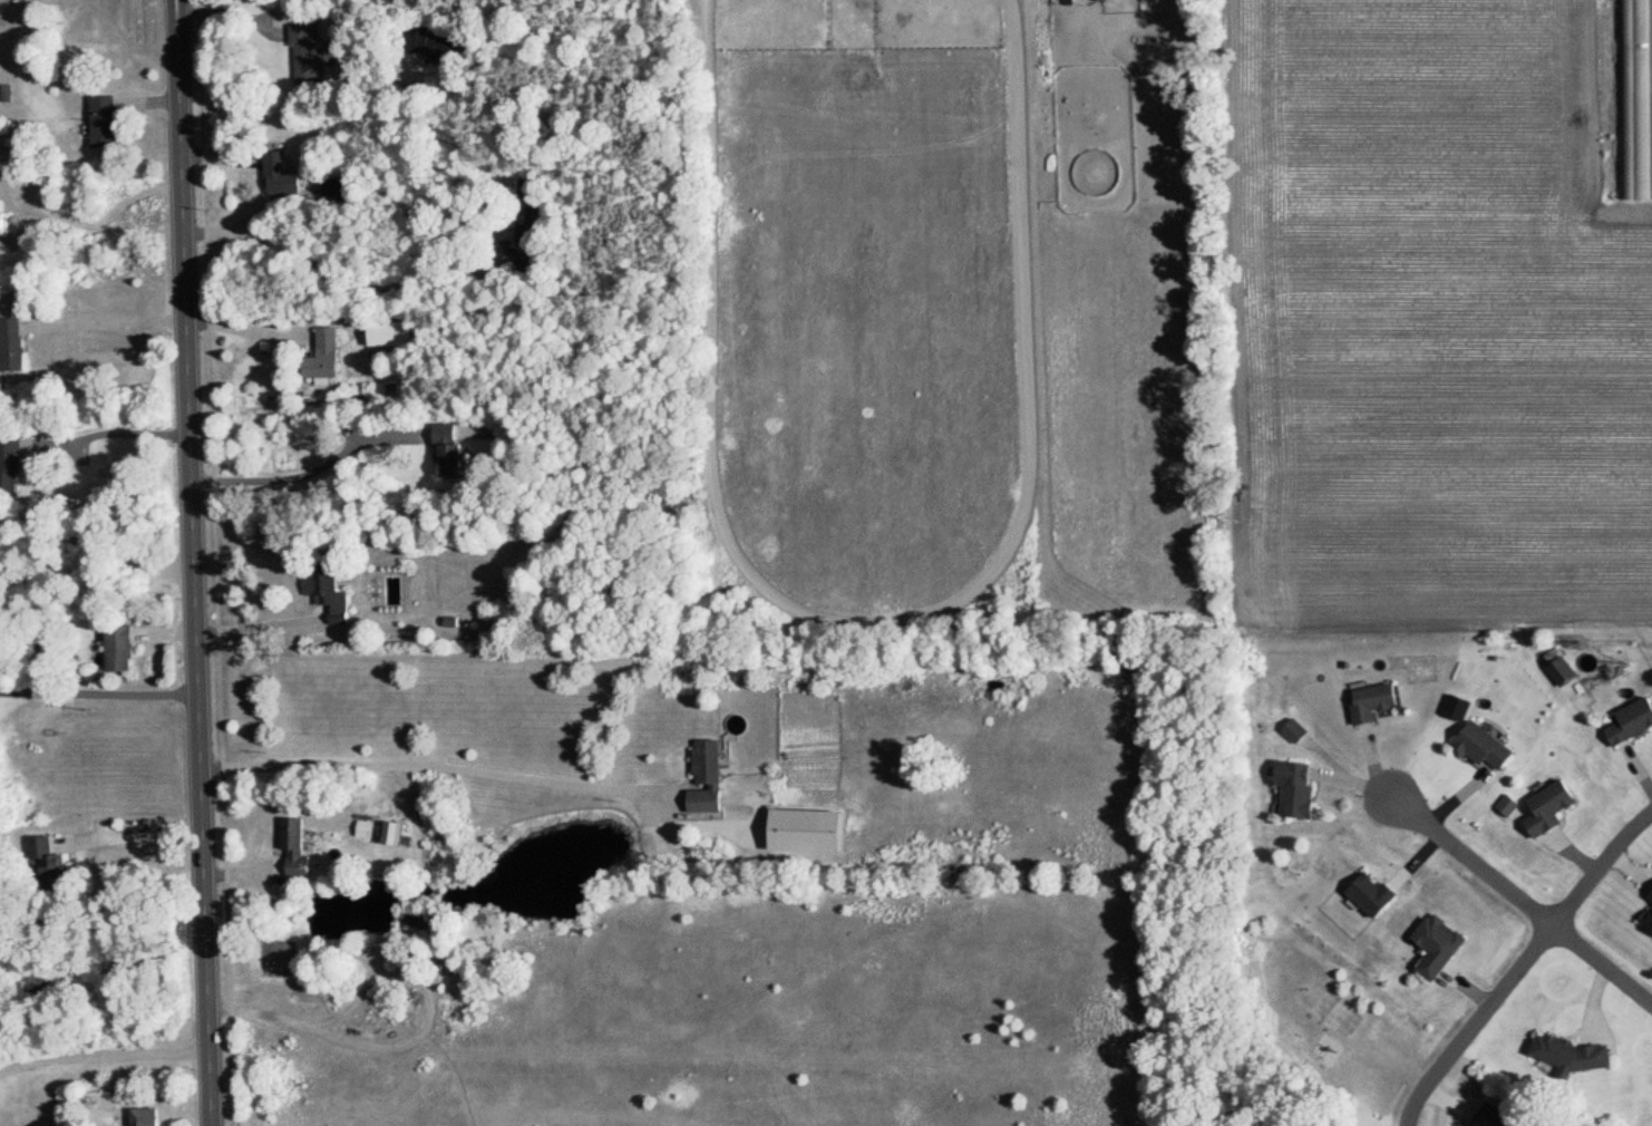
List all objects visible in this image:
building: (1067, 1)
road: (241, 13)
building: (437, 45)
building: (311, 57)
building: (1641, 100)
building: (284, 177)
building: (1, 182)
building: (342, 193)
building: (535, 213)
building: (6, 223)
road: (100, 223)
road: (348, 279)
road: (111, 322)
building: (363, 326)
road: (251, 329)
building: (329, 356)
road: (111, 437)
building: (455, 450)
road: (315, 472)
road: (97, 545)
road: (195, 563)
building: (333, 589)
road: (261, 625)
building: (1558, 671)
road: (99, 691)
building: (1369, 702)
building: (1630, 721)
building: (1293, 731)
building: (1480, 747)
road: (445, 769)
building: (712, 778)
building: (1293, 789)
building: (1546, 808)
building: (396, 834)
road: (136, 835)
building: (299, 852)
road: (1474, 863)
building: (1369, 894)
building: (417, 922)
building: (1435, 945)
road: (1522, 963)
road: (1602, 963)
road: (425, 1033)
road: (105, 1058)
building: (150, 1117)

